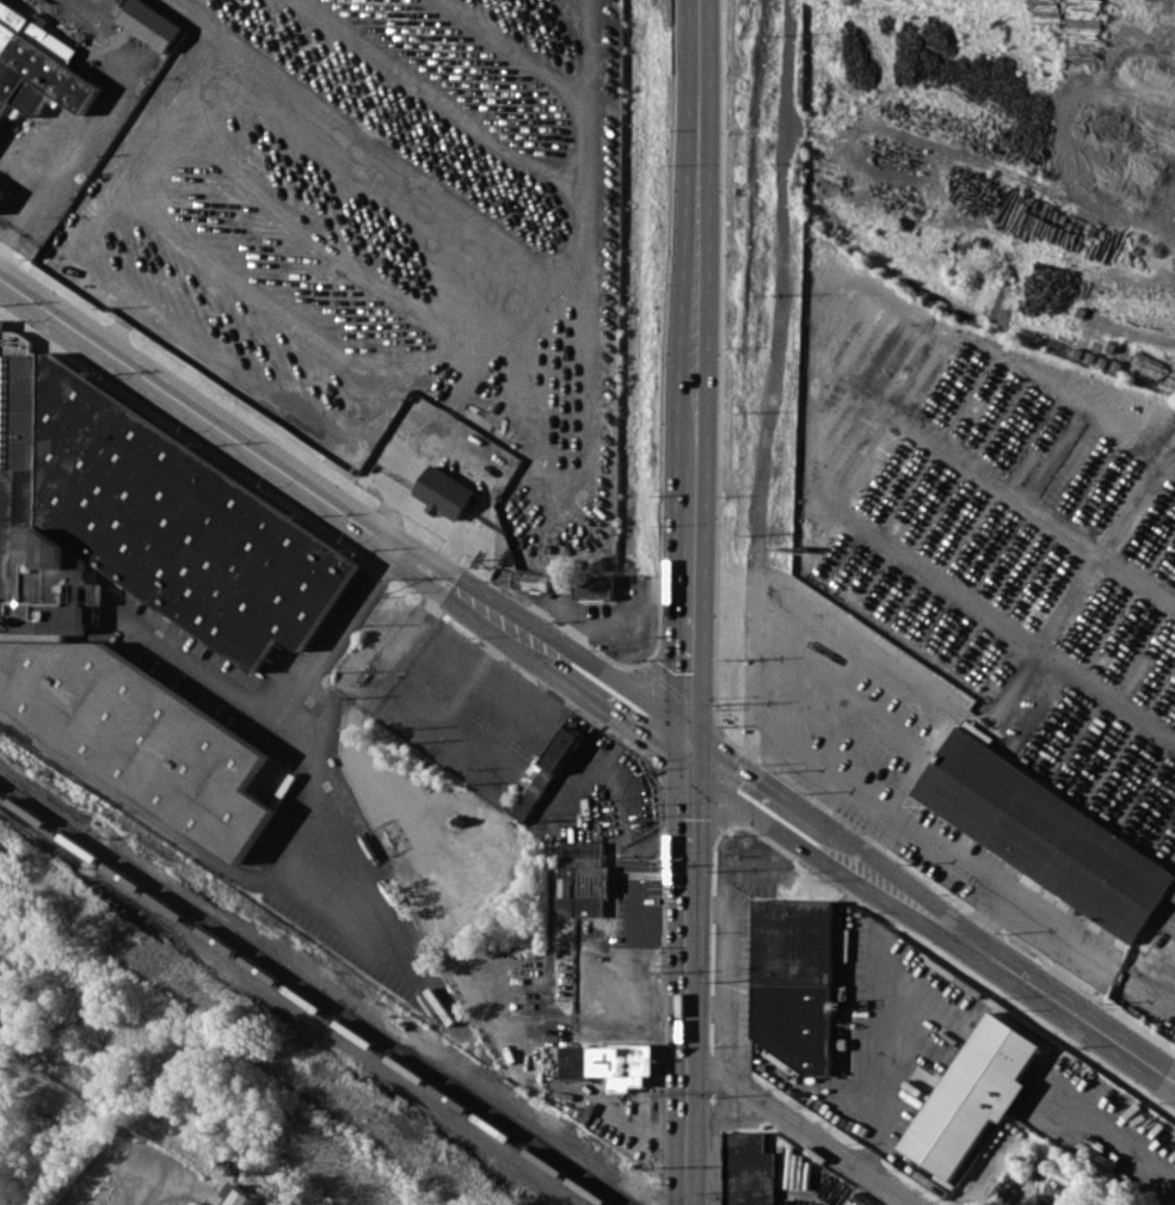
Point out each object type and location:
building: (150, 23)
building: (37, 63)
road: (701, 87)
building: (1, 191)
road: (33, 197)
road: (695, 365)
building: (443, 492)
road: (425, 511)
road: (429, 571)
building: (535, 580)
building: (141, 588)
building: (595, 588)
road: (402, 633)
road: (690, 652)
building: (435, 682)
road: (277, 719)
road: (617, 739)
traffic signals: (689, 749)
building: (524, 770)
road: (819, 799)
road: (909, 822)
building: (1041, 832)
road: (351, 837)
road: (874, 837)
road: (657, 838)
road: (625, 841)
road: (874, 875)
building: (583, 879)
road: (983, 912)
railway: (244, 951)
road: (726, 973)
road: (688, 977)
building: (793, 980)
road: (1033, 984)
railway: (314, 991)
railway: (304, 998)
road: (707, 1004)
road: (878, 1029)
building: (609, 1063)
building: (973, 1094)
railway: (502, 1125)
road: (801, 1127)
building: (627, 1137)
road: (1033, 1138)
building: (1040, 1164)
building: (749, 1169)
road: (152, 1191)
building: (246, 1197)

